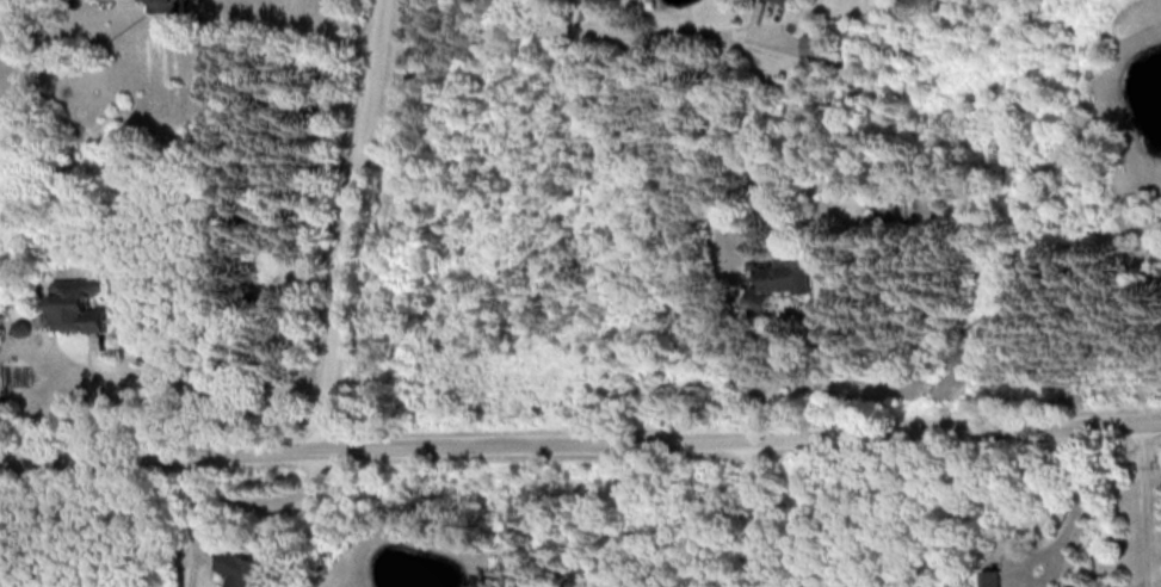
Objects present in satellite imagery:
building: (788, 0)
building: (165, 5)
road: (619, 30)
road: (354, 224)
building: (778, 279)
building: (78, 304)
road: (206, 375)
road: (580, 439)
road: (1073, 494)
road: (254, 498)
road: (1143, 502)
road: (759, 509)
building: (242, 568)
building: (990, 576)

